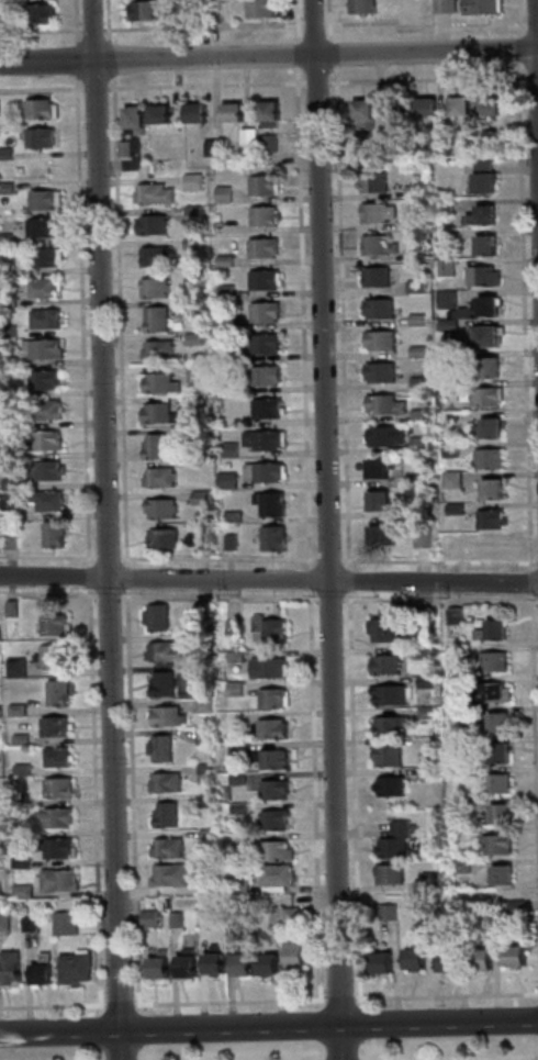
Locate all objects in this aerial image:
building: (1, 1)
building: (442, 5)
building: (362, 7)
building: (479, 7)
building: (258, 9)
building: (141, 10)
building: (37, 13)
building: (187, 14)
road: (294, 20)
road: (326, 20)
road: (71, 21)
road: (311, 24)
road: (200, 26)
road: (425, 27)
road: (40, 31)
road: (89, 31)
road: (295, 53)
road: (329, 53)
road: (268, 55)
road: (72, 58)
road: (111, 68)
road: (536, 69)
road: (334, 74)
road: (314, 82)
road: (329, 82)
road: (203, 85)
road: (40, 88)
road: (92, 88)
building: (458, 105)
building: (487, 105)
building: (424, 107)
building: (391, 108)
building: (38, 110)
building: (193, 112)
building: (229, 112)
building: (266, 113)
building: (363, 113)
building: (156, 114)
building: (132, 119)
building: (246, 135)
building: (35, 137)
building: (266, 143)
building: (383, 146)
building: (122, 148)
building: (210, 148)
building: (4, 154)
building: (482, 177)
building: (190, 181)
building: (373, 181)
building: (259, 185)
building: (5, 188)
building: (152, 193)
building: (221, 194)
building: (43, 199)
building: (441, 205)
building: (190, 210)
building: (379, 212)
building: (215, 215)
building: (260, 215)
building: (480, 215)
building: (148, 225)
building: (38, 227)
building: (5, 239)
building: (190, 243)
building: (379, 245)
building: (483, 245)
building: (260, 247)
building: (152, 256)
building: (43, 257)
building: (222, 260)
building: (444, 267)
building: (5, 270)
building: (190, 276)
building: (376, 276)
building: (480, 276)
building: (260, 280)
building: (42, 288)
building: (152, 288)
building: (223, 291)
building: (445, 299)
building: (7, 301)
building: (379, 308)
building: (475, 308)
building: (191, 310)
building: (261, 312)
building: (43, 319)
building: (154, 319)
road: (300, 319)
road: (79, 320)
road: (116, 322)
building: (224, 323)
building: (447, 325)
building: (7, 332)
building: (481, 336)
building: (191, 338)
building: (379, 339)
building: (262, 344)
building: (41, 348)
building: (155, 350)
building: (225, 355)
building: (8, 362)
building: (486, 367)
building: (379, 371)
building: (195, 373)
building: (264, 376)
building: (42, 379)
building: (155, 383)
building: (447, 386)
building: (3, 394)
building: (483, 397)
building: (198, 403)
building: (216, 403)
building: (383, 403)
building: (264, 409)
building: (45, 410)
building: (156, 414)
building: (7, 423)
building: (484, 428)
building: (385, 435)
building: (261, 439)
building: (42, 440)
building: (153, 447)
building: (227, 449)
building: (448, 449)
building: (8, 455)
building: (485, 458)
building: (378, 468)
building: (46, 470)
building: (261, 472)
building: (156, 477)
building: (449, 479)
building: (225, 480)
building: (8, 483)
building: (489, 489)
building: (199, 498)
building: (381, 499)
building: (45, 501)
building: (267, 503)
building: (159, 509)
building: (452, 509)
building: (9, 514)
building: (228, 516)
building: (487, 518)
road: (104, 529)
road: (325, 529)
building: (51, 534)
building: (381, 535)
building: (160, 538)
building: (270, 538)
building: (419, 538)
building: (8, 540)
building: (202, 540)
building: (227, 542)
building: (491, 546)
road: (46, 557)
road: (215, 558)
road: (104, 559)
road: (320, 560)
road: (86, 577)
road: (123, 578)
road: (269, 579)
road: (306, 579)
road: (1, 594)
road: (48, 595)
road: (105, 595)
road: (216, 598)
road: (322, 599)
building: (10, 610)
building: (200, 611)
building: (451, 616)
building: (154, 617)
building: (51, 625)
building: (381, 626)
building: (422, 626)
building: (232, 628)
building: (267, 629)
building: (490, 631)
building: (200, 638)
building: (162, 651)
building: (418, 651)
building: (453, 651)
building: (233, 656)
building: (51, 657)
building: (491, 661)
building: (383, 665)
building: (14, 668)
building: (265, 669)
building: (423, 682)
building: (455, 683)
building: (159, 684)
building: (232, 689)
building: (490, 692)
building: (55, 693)
building: (386, 695)
building: (266, 699)
building: (202, 705)
building: (15, 711)
building: (424, 712)
building: (164, 717)
building: (495, 723)
building: (388, 725)
building: (51, 727)
building: (269, 729)
building: (201, 737)
building: (19, 740)
building: (457, 741)
building: (157, 748)
building: (235, 749)
building: (496, 752)
building: (385, 756)
building: (54, 758)
building: (271, 760)
building: (20, 770)
building: (426, 773)
building: (457, 773)
building: (203, 774)
building: (235, 779)
building: (162, 782)
building: (493, 783)
building: (388, 786)
building: (55, 788)
building: (271, 790)
road: (312, 794)
road: (91, 795)
road: (130, 795)
building: (20, 800)
building: (204, 801)
building: (458, 803)
building: (236, 808)
building: (498, 814)
building: (162, 815)
building: (54, 818)
building: (271, 819)
building: (397, 829)
building: (459, 834)
building: (204, 835)
building: (494, 845)
building: (389, 848)
building: (57, 849)
building: (165, 849)
building: (273, 851)
building: (19, 862)
building: (460, 866)
building: (386, 874)
building: (167, 875)
building: (274, 875)
building: (500, 875)
building: (428, 880)
building: (56, 881)
building: (238, 882)
building: (205, 885)
building: (20, 891)
building: (514, 908)
building: (419, 911)
building: (485, 911)
building: (385, 912)
building: (452, 912)
building: (288, 915)
building: (146, 918)
building: (228, 918)
building: (201, 919)
building: (246, 919)
building: (173, 920)
building: (3, 923)
building: (27, 923)
building: (64, 923)
building: (513, 956)
building: (291, 958)
building: (412, 959)
building: (478, 960)
building: (211, 961)
building: (445, 961)
building: (237, 963)
building: (379, 963)
building: (182, 964)
building: (155, 966)
building: (264, 966)
building: (8, 967)
building: (72, 969)
building: (40, 971)
road: (444, 995)
road: (335, 1000)
road: (225, 1002)
road: (115, 1005)
road: (51, 1006)
road: (269, 1027)

